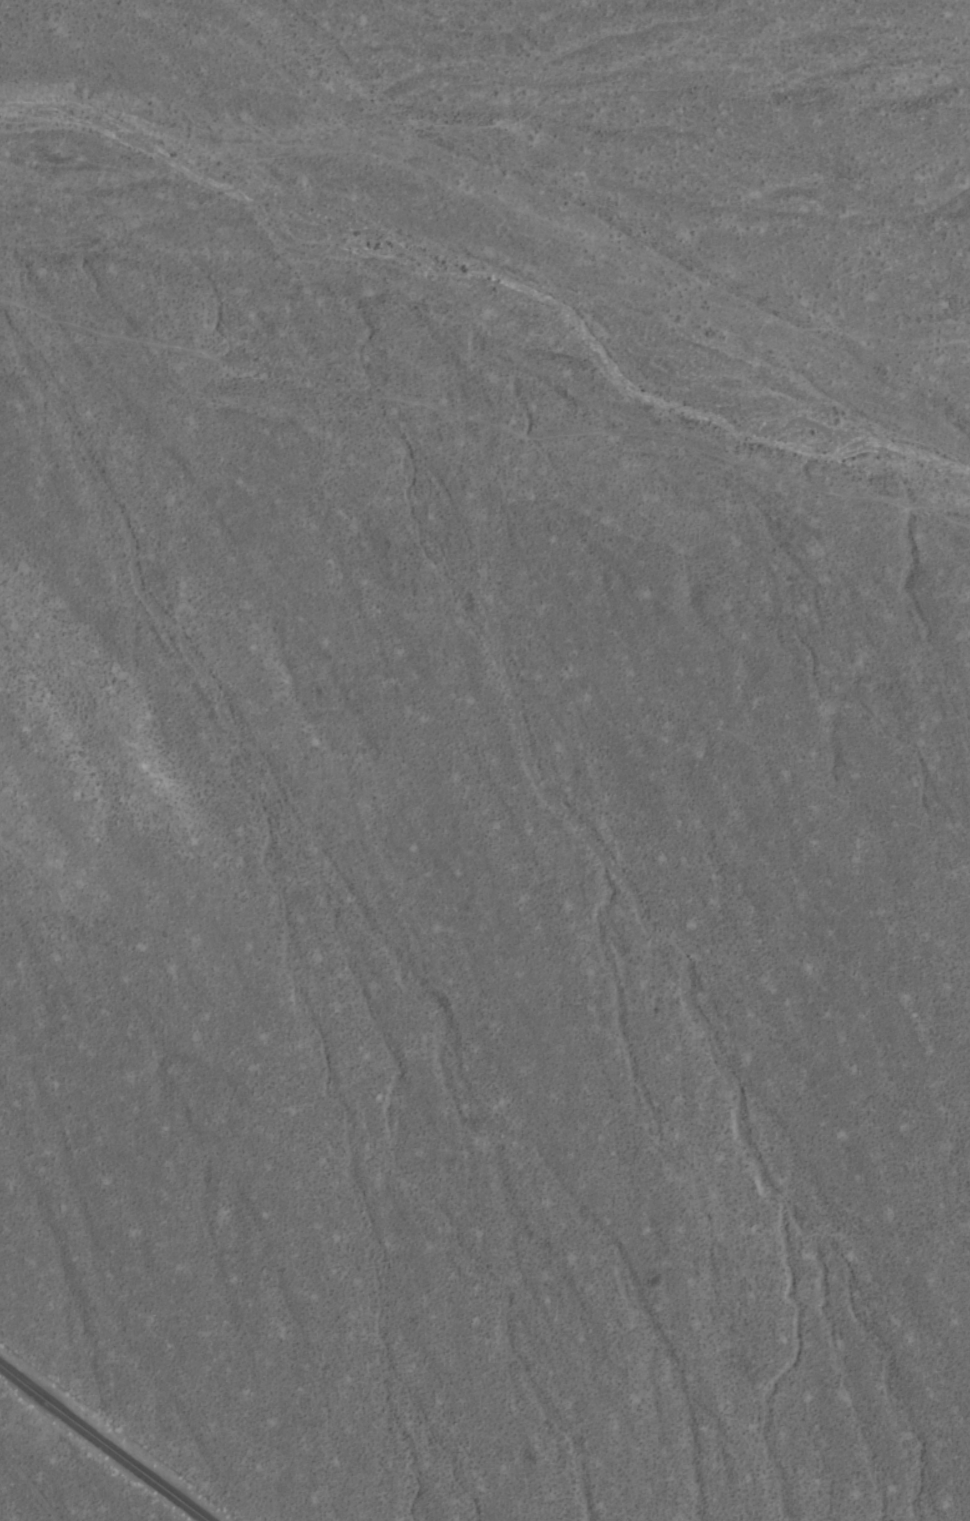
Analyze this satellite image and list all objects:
road: (482, 426)
road: (104, 1442)
road: (30, 1482)

